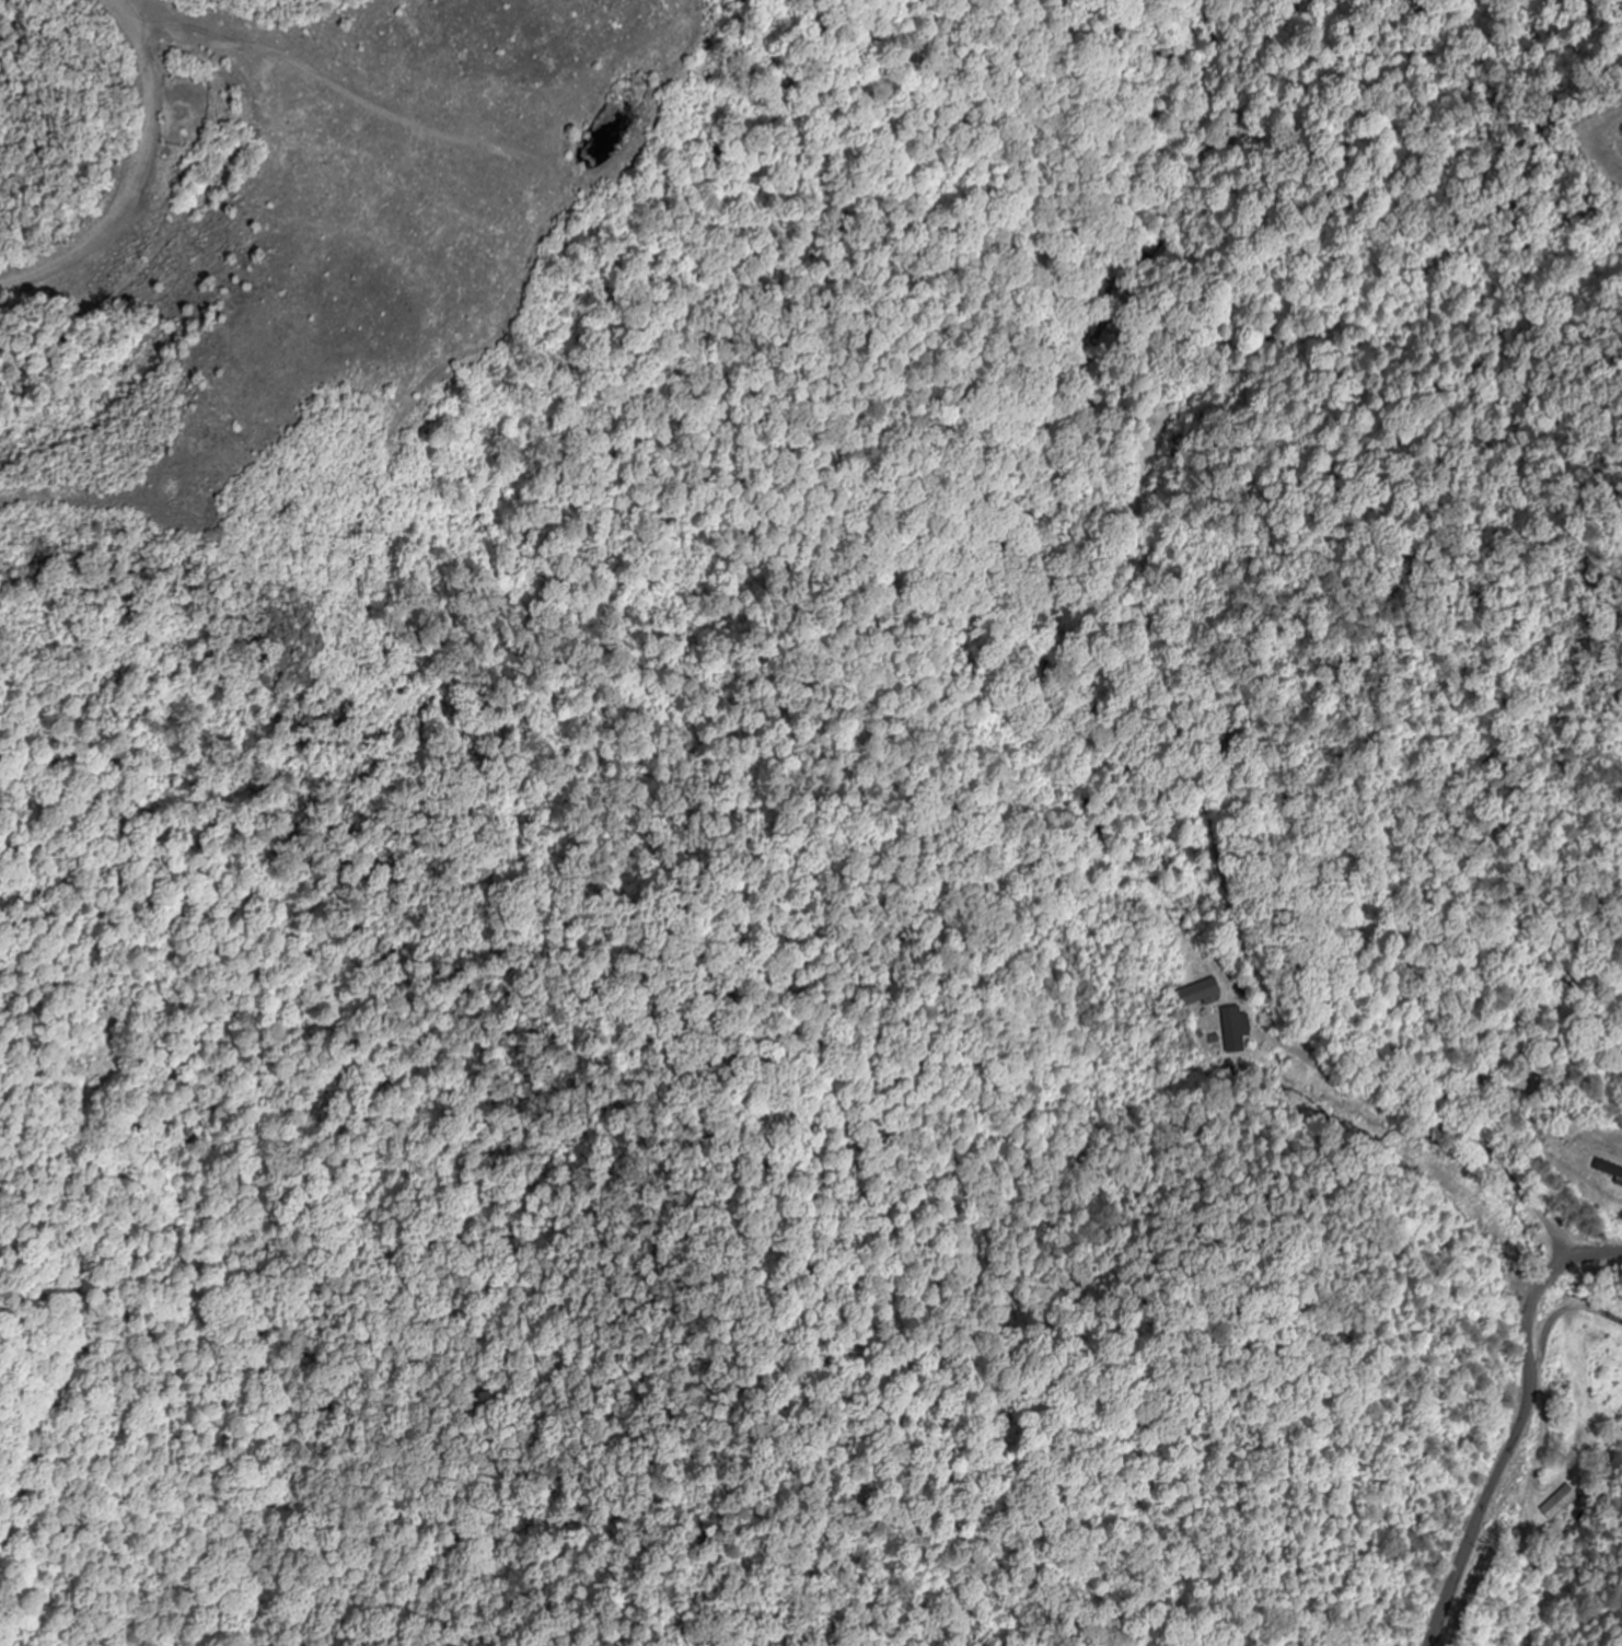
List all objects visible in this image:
building: (1204, 993)
building: (1237, 1030)
building: (1604, 1170)
road: (1478, 1372)
building: (1560, 1502)

